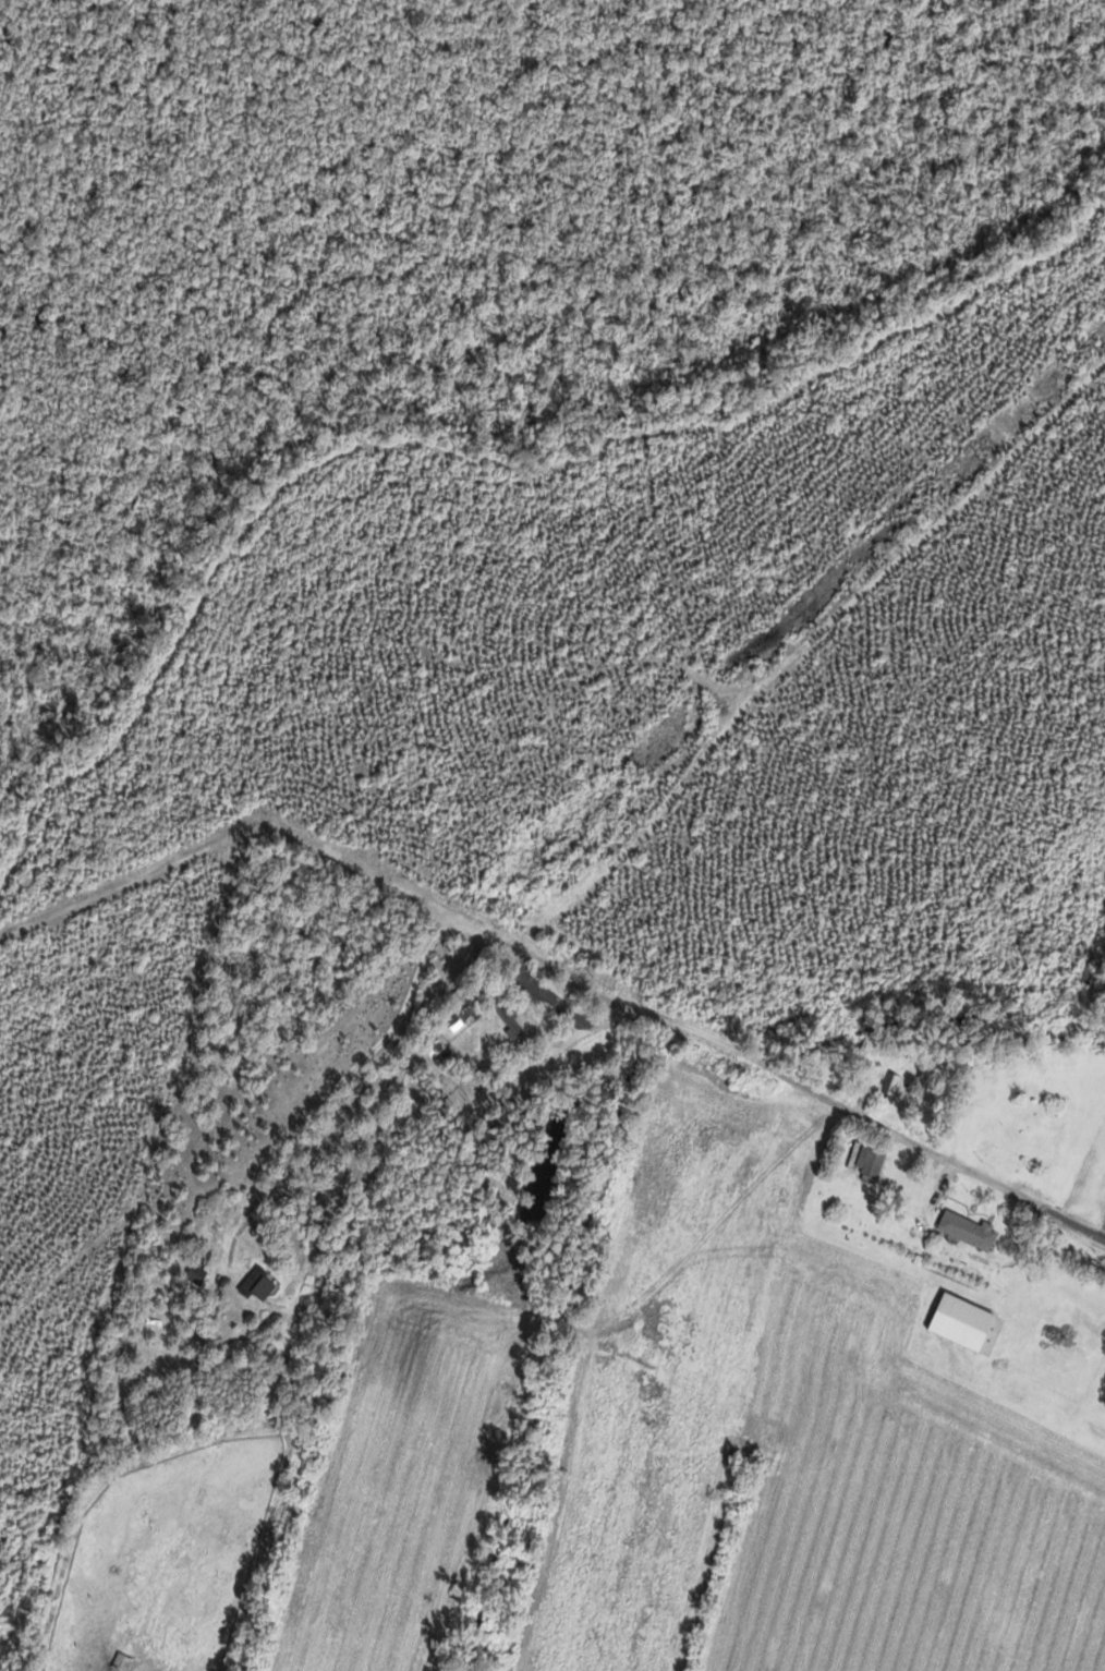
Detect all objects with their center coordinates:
road: (222, 834)
road: (775, 1068)
building: (889, 1083)
building: (870, 1161)
road: (411, 1196)
building: (967, 1231)

